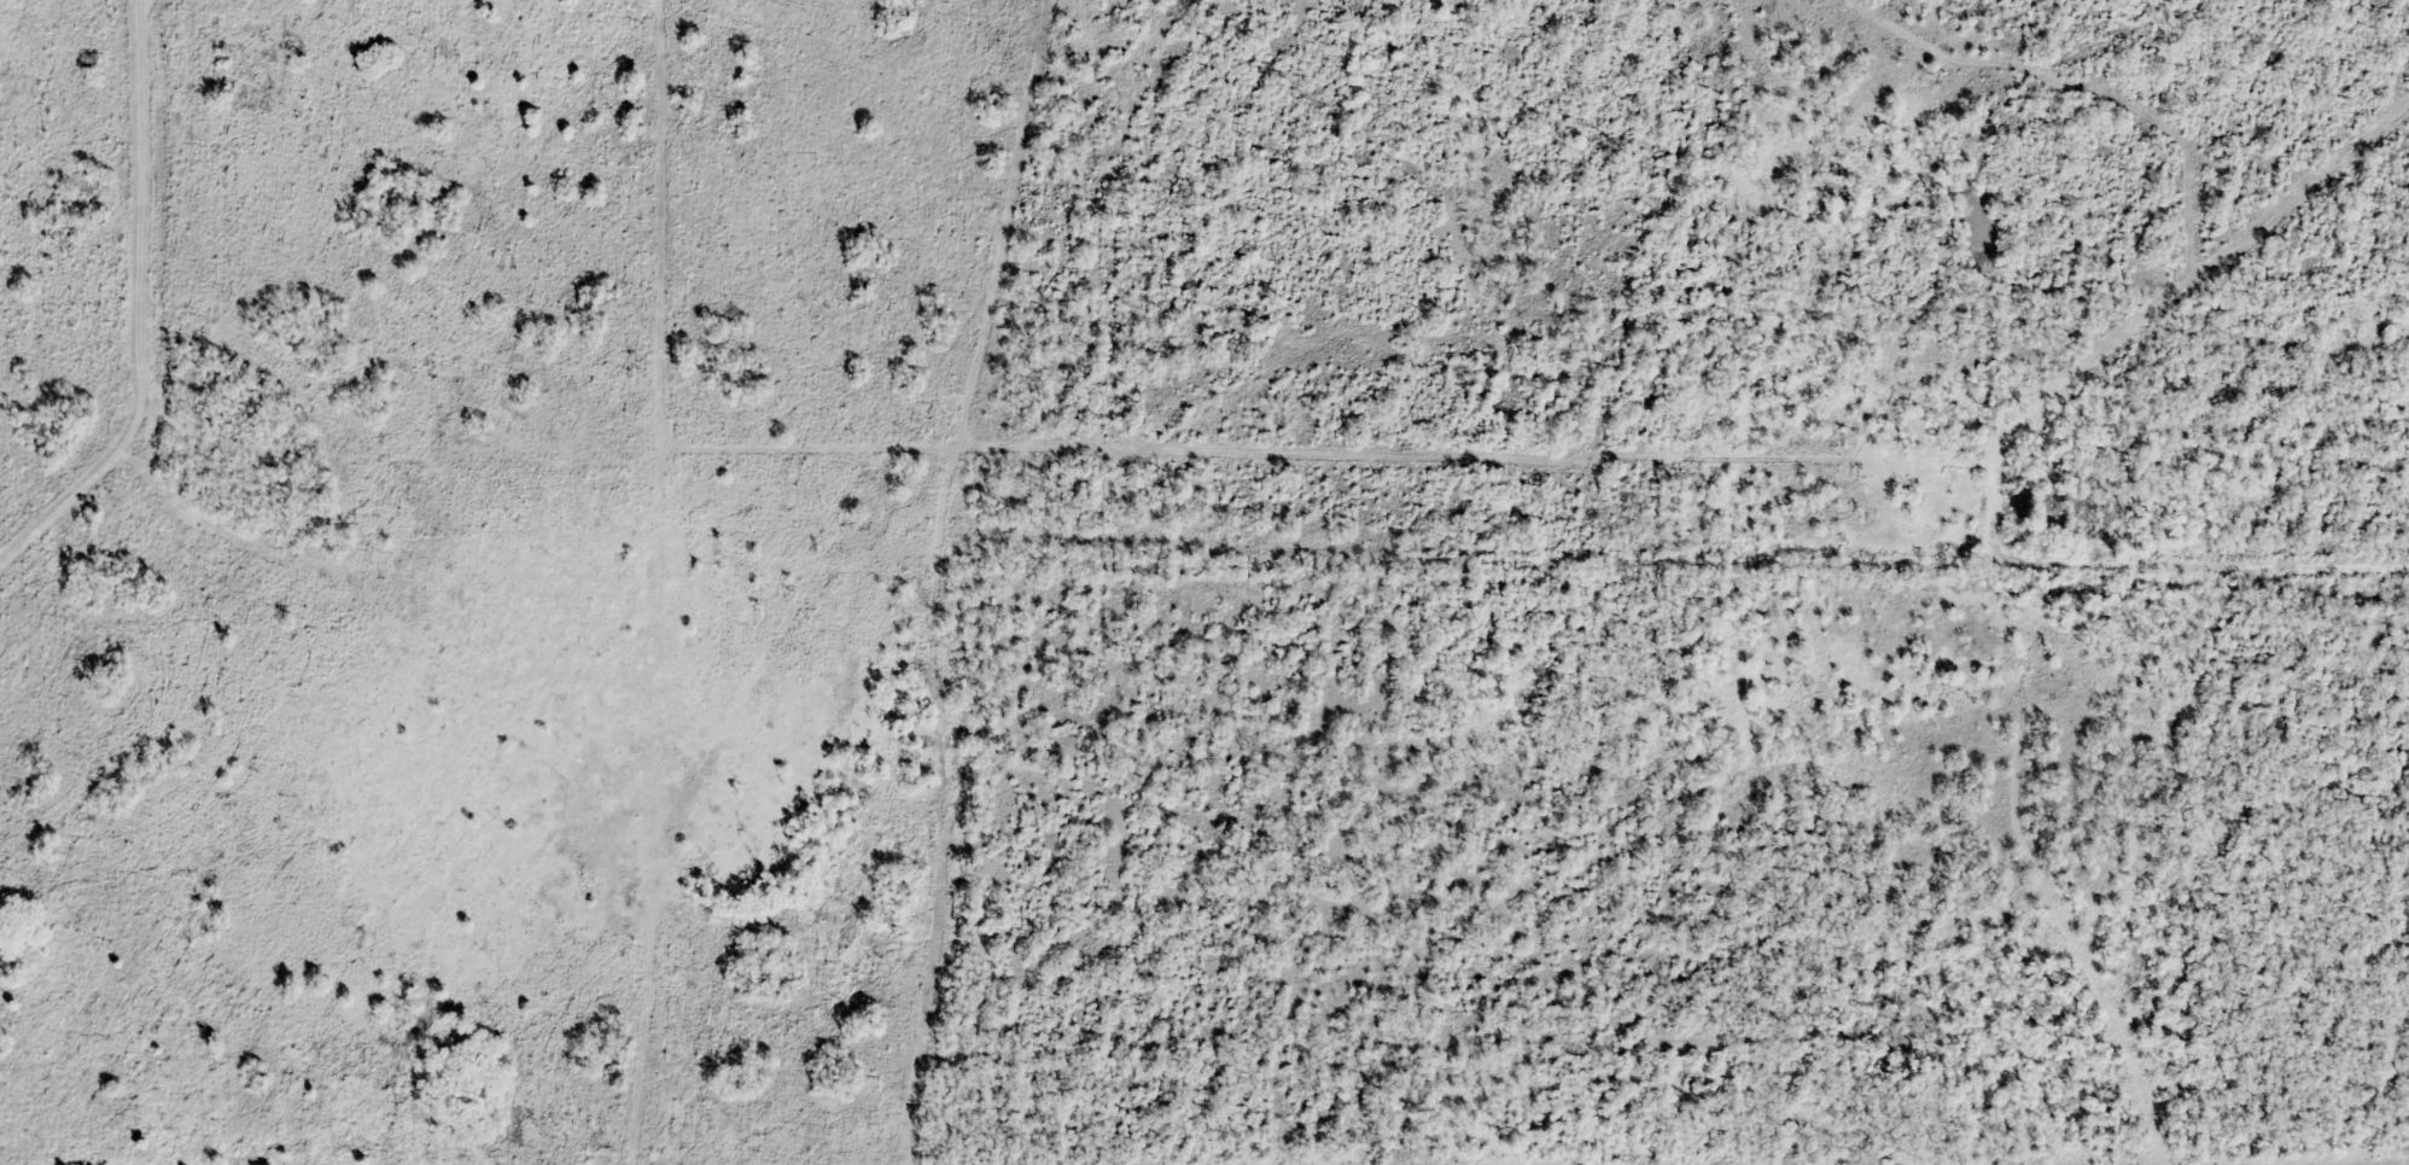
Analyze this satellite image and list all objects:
road: (133, 319)
road: (2299, 564)

